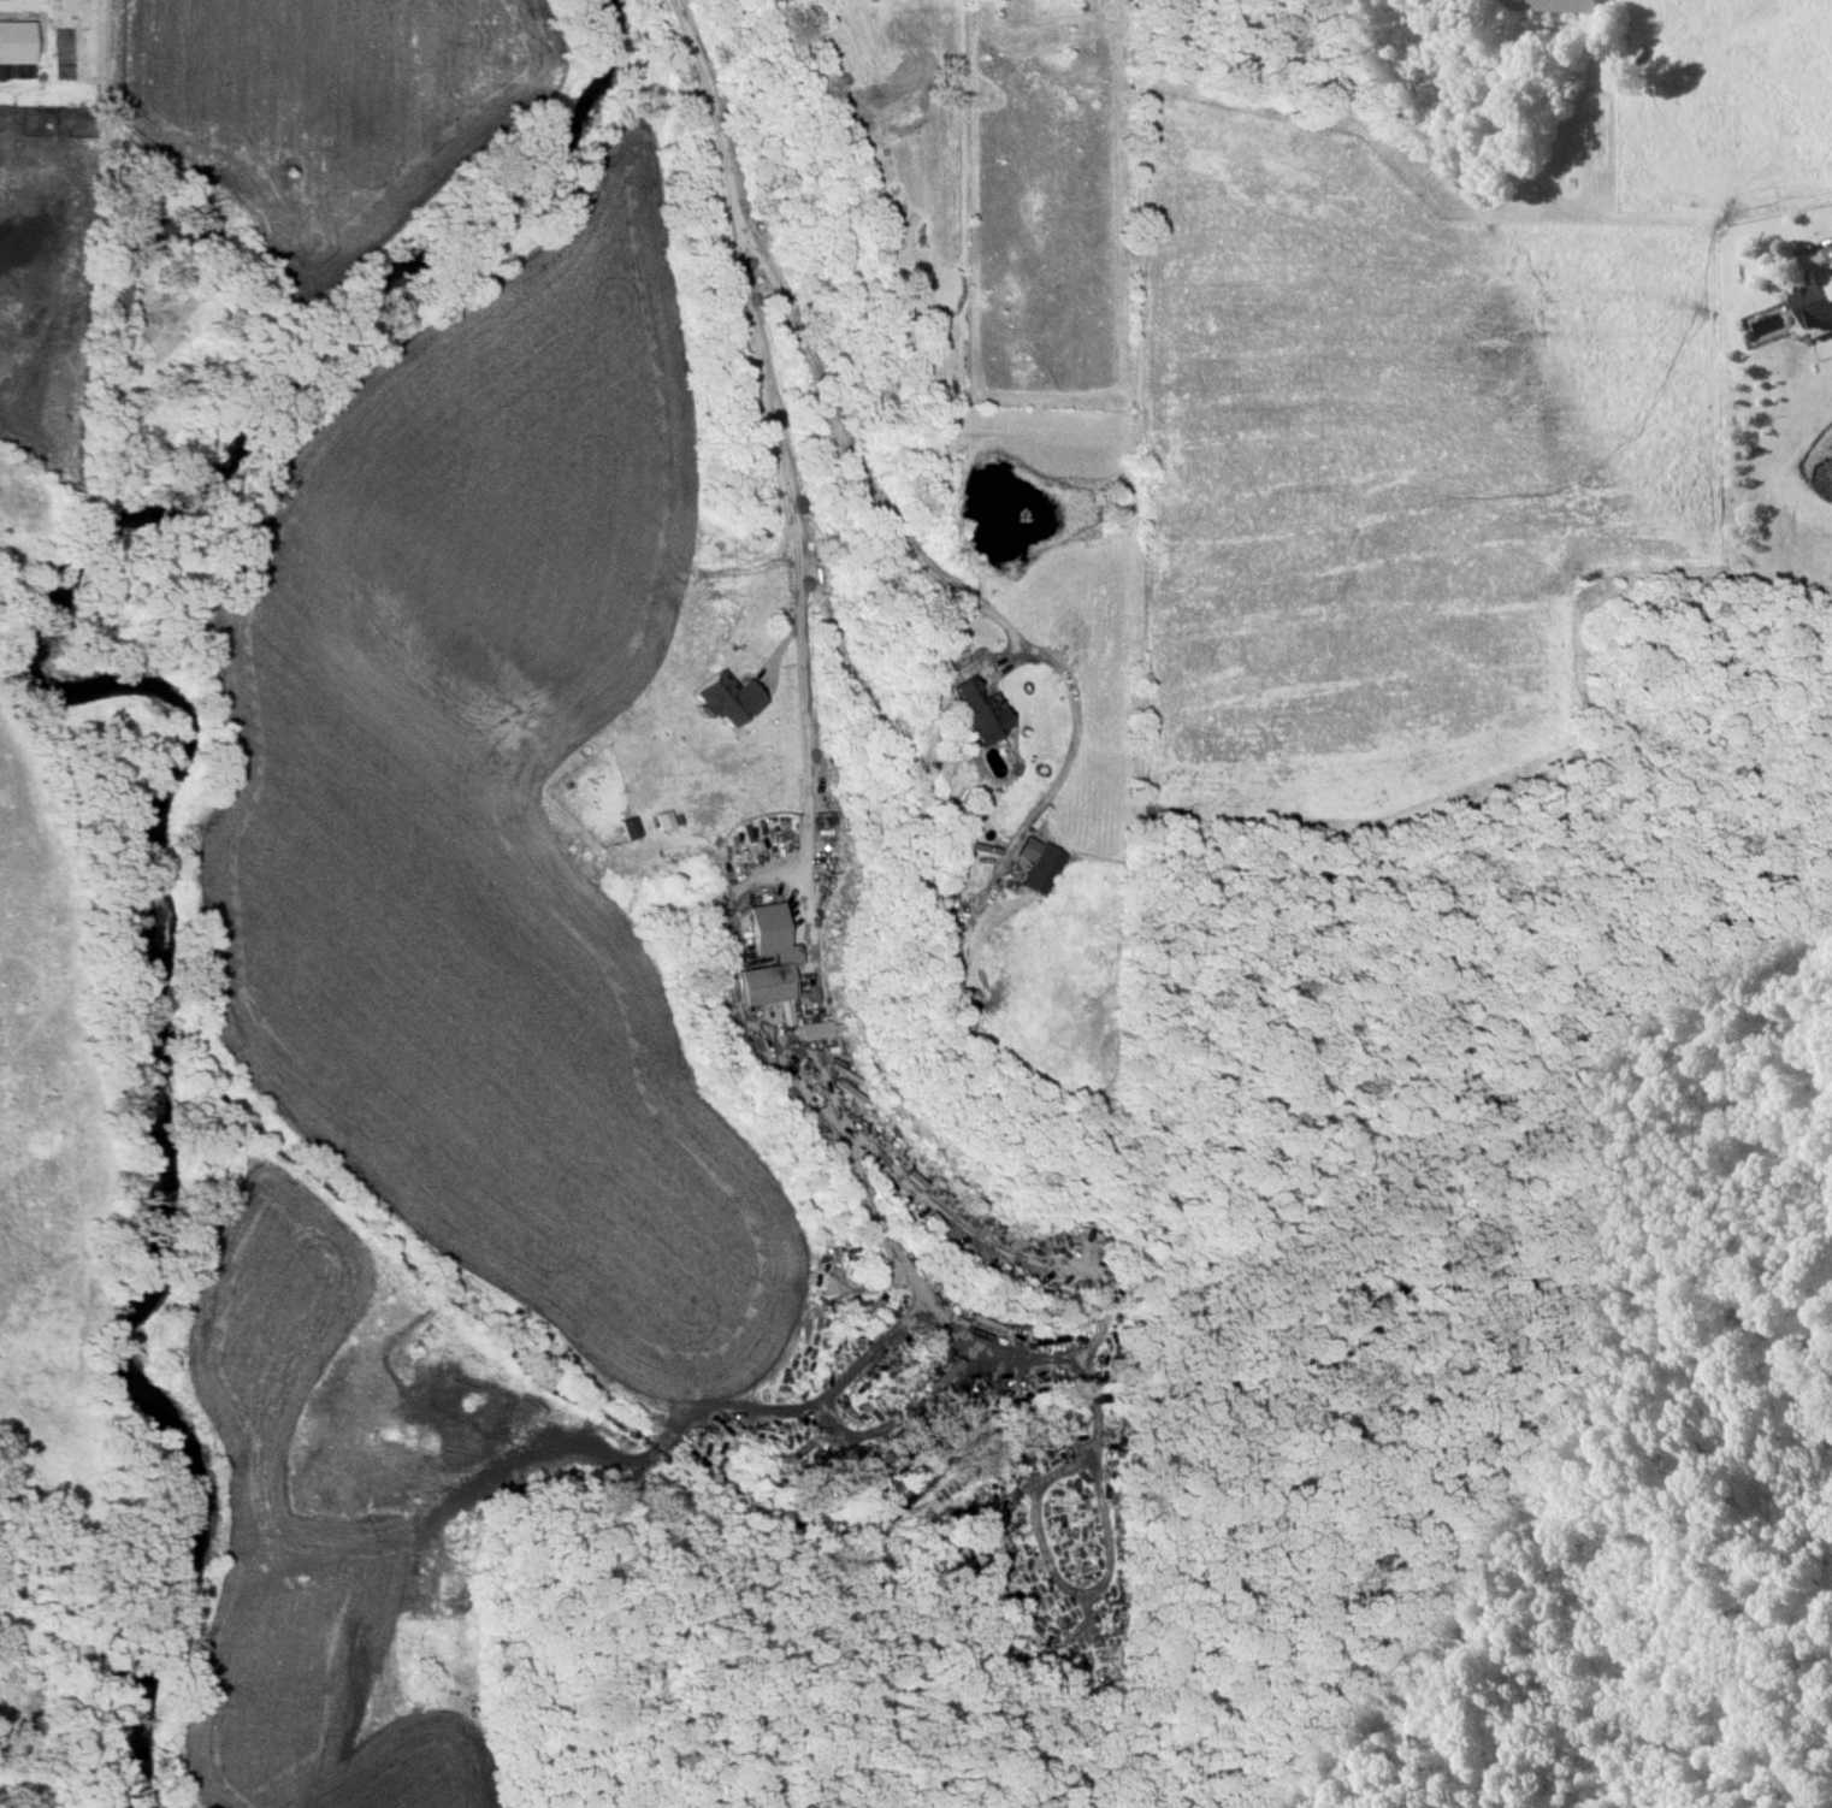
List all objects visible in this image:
building: (1559, 5)
building: (14, 41)
road: (105, 98)
building: (149, 228)
building: (1816, 299)
road: (849, 468)
road: (776, 492)
building: (722, 698)
building: (976, 711)
road: (1070, 756)
building: (627, 827)
building: (1038, 863)
building: (787, 959)
building: (816, 1029)
road: (785, 1080)

